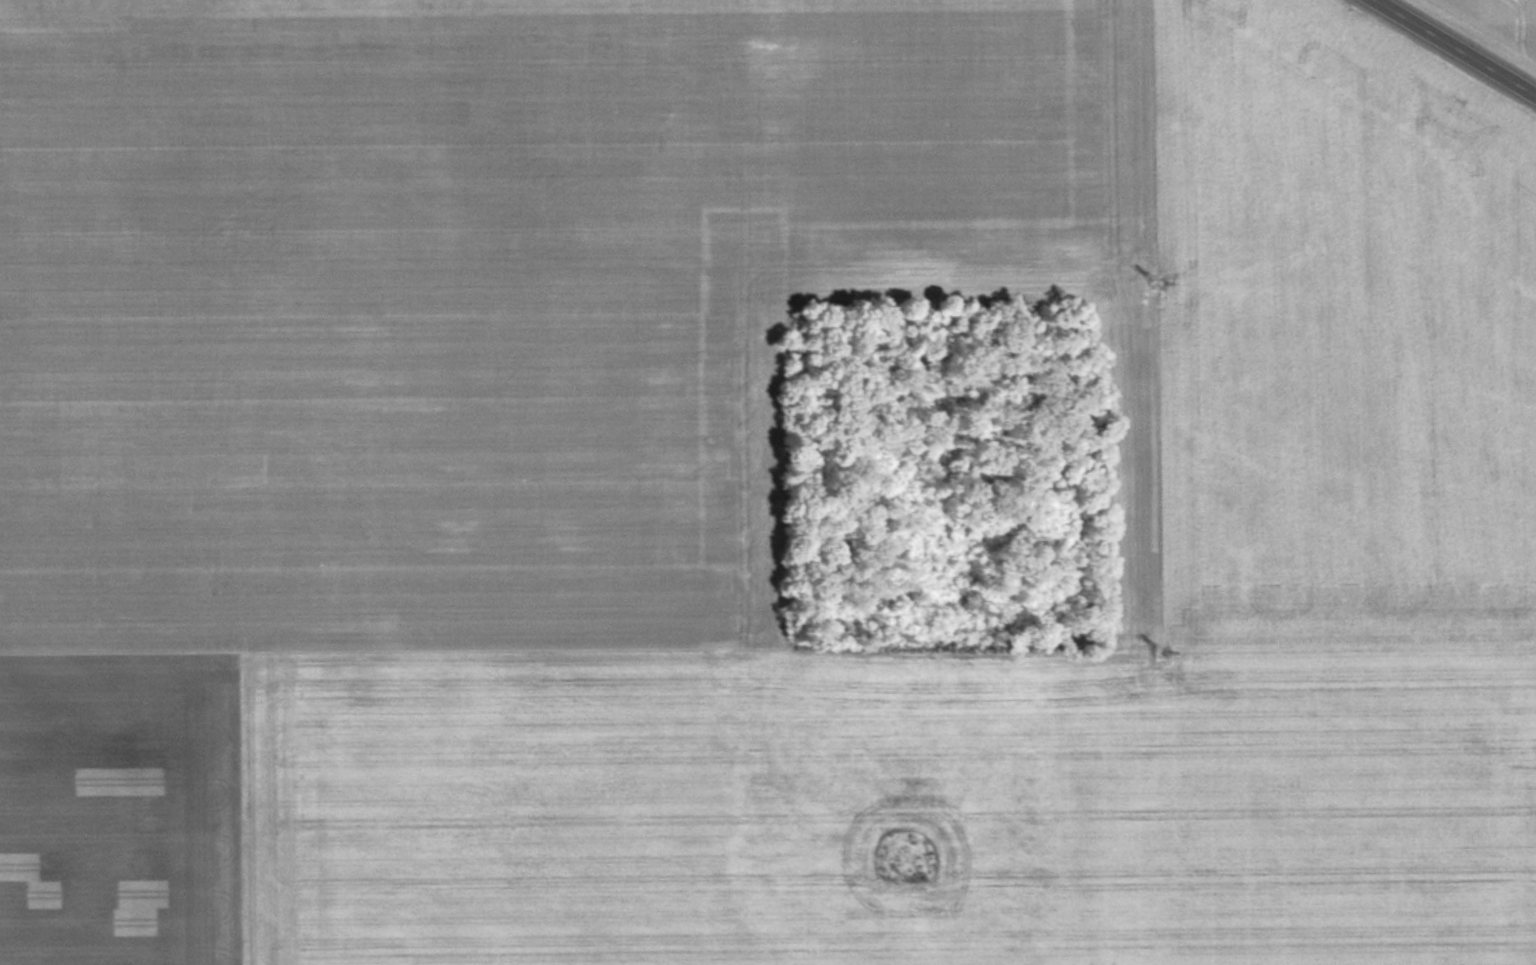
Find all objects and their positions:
road: (1454, 48)
power tower: (1158, 284)
power tower: (1166, 654)

